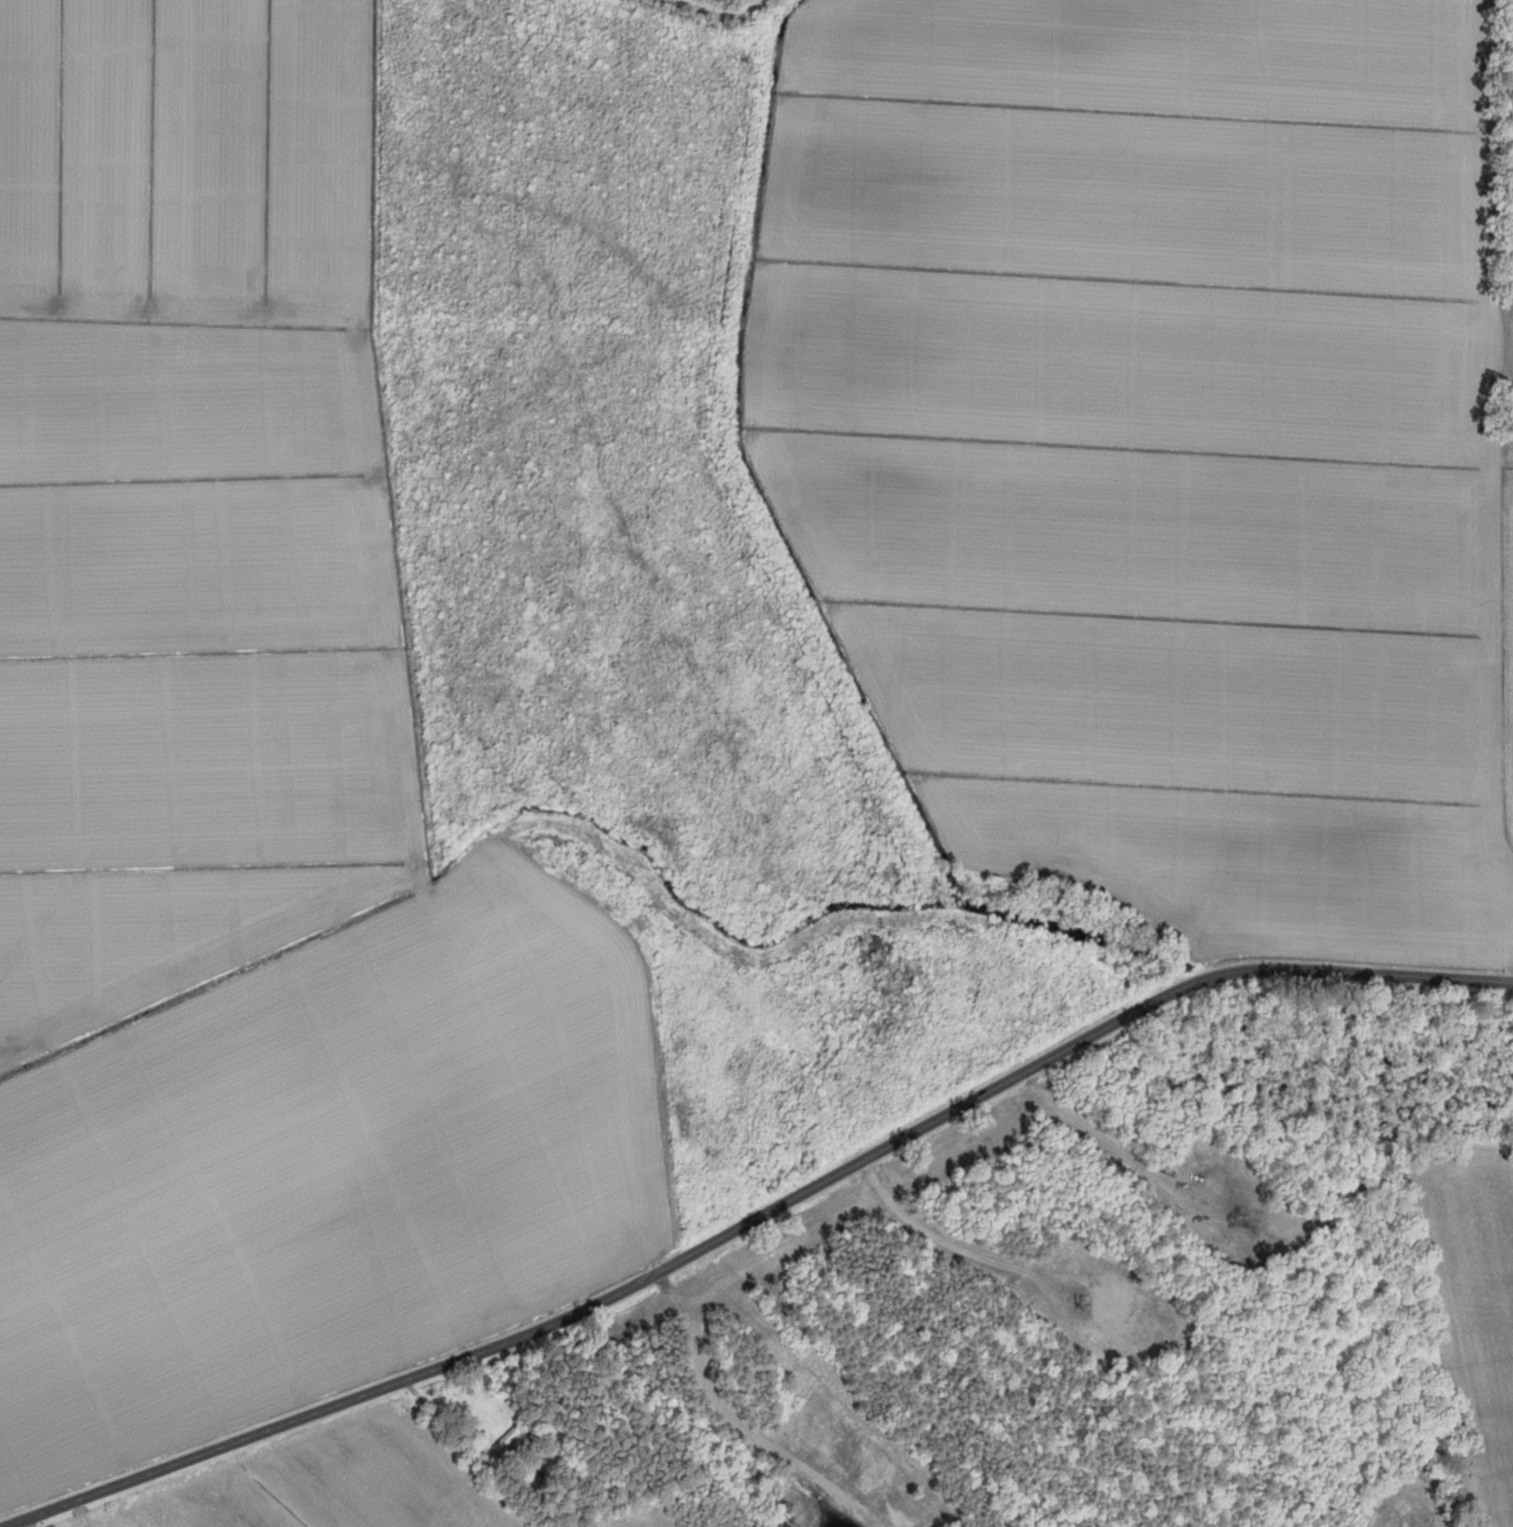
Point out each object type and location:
road: (774, 1233)

